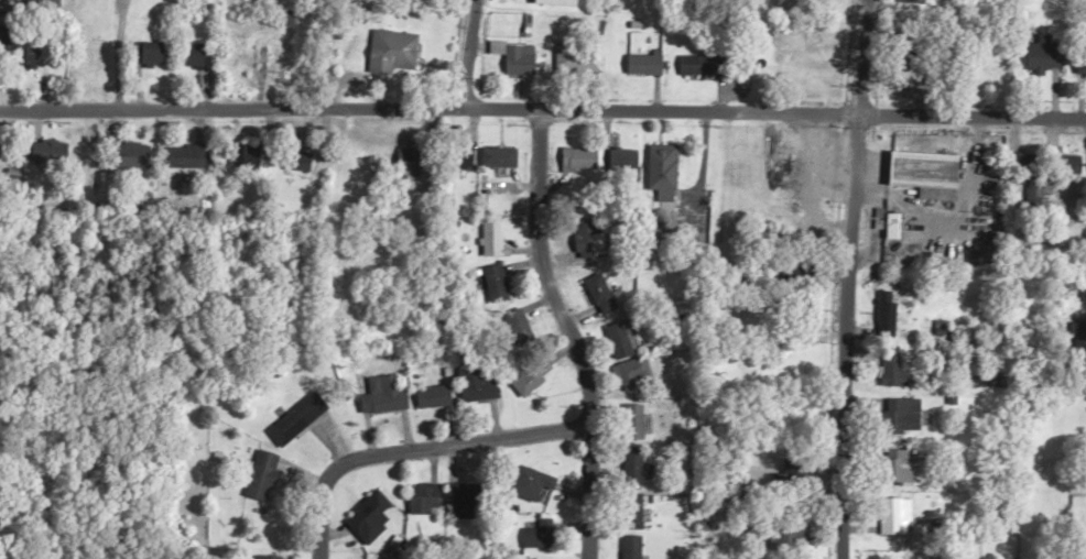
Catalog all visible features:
building: (31, 4)
building: (560, 4)
road: (467, 53)
building: (398, 54)
building: (1044, 57)
building: (152, 58)
building: (520, 58)
building: (200, 59)
building: (280, 61)
building: (582, 61)
building: (648, 64)
building: (705, 66)
road: (543, 107)
building: (40, 151)
building: (239, 152)
building: (449, 153)
building: (121, 154)
building: (490, 154)
building: (174, 155)
building: (571, 155)
building: (616, 155)
building: (1024, 161)
building: (285, 163)
building: (1062, 163)
building: (399, 164)
building: (655, 165)
building: (919, 169)
building: (655, 217)
building: (482, 234)
building: (583, 237)
building: (488, 278)
road: (846, 278)
building: (1080, 284)
building: (594, 289)
building: (883, 316)
road: (561, 332)
building: (611, 336)
building: (1078, 337)
building: (889, 364)
building: (626, 370)
building: (525, 372)
building: (470, 381)
building: (377, 391)
building: (426, 393)
building: (897, 412)
building: (291, 416)
building: (627, 418)
road: (409, 448)
building: (629, 462)
building: (891, 463)
building: (256, 472)
building: (523, 480)
building: (416, 495)
building: (458, 495)
building: (626, 507)
building: (360, 508)
building: (891, 513)
building: (784, 529)
building: (533, 531)
building: (626, 546)
building: (260, 555)

